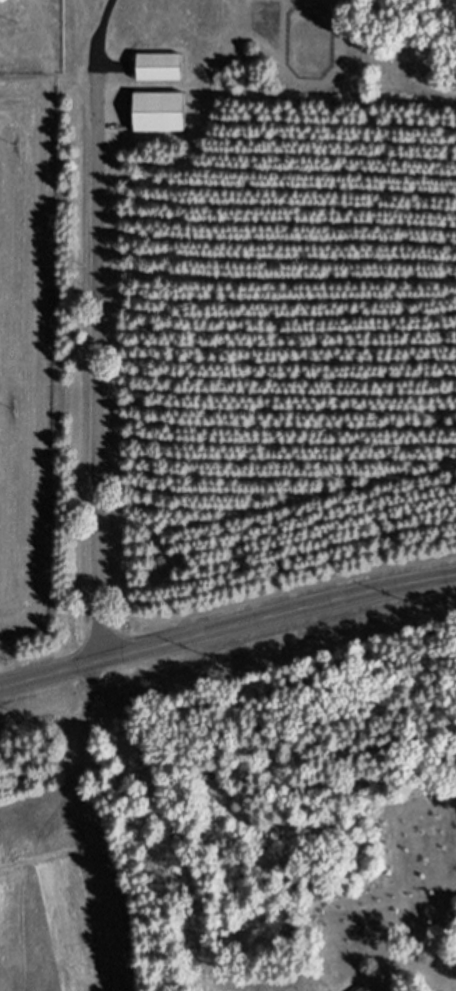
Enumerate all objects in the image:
building: (164, 74)
building: (163, 119)
road: (97, 329)
road: (227, 628)
road: (97, 826)

